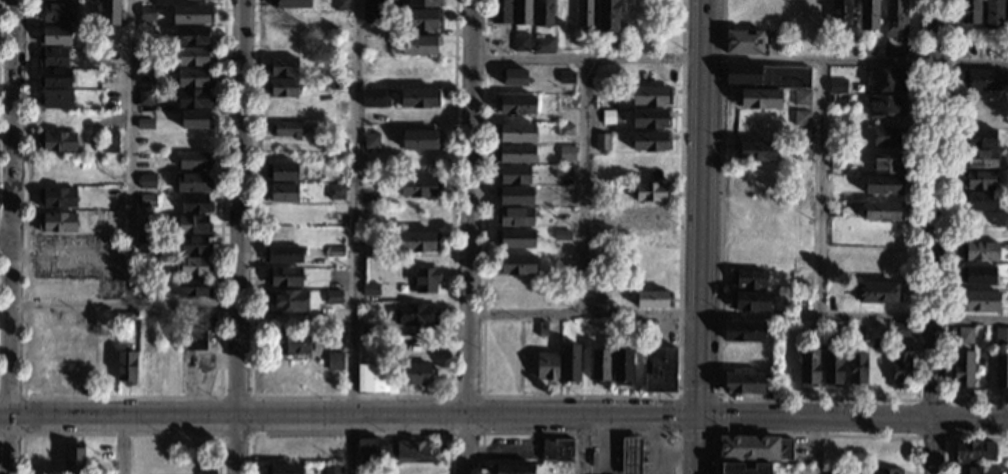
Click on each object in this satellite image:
building: (91, 1)
building: (424, 3)
building: (289, 4)
building: (340, 5)
building: (57, 12)
building: (110, 12)
building: (371, 12)
building: (501, 12)
building: (522, 12)
building: (841, 12)
building: (969, 12)
building: (147, 13)
building: (543, 13)
building: (585, 13)
building: (192, 15)
building: (868, 15)
building: (993, 15)
building: (1007, 15)
building: (608, 16)
road: (703, 16)
building: (894, 18)
building: (421, 19)
building: (284, 22)
building: (54, 36)
building: (195, 36)
building: (520, 42)
building: (743, 42)
building: (372, 44)
building: (419, 44)
building: (850, 44)
building: (543, 45)
building: (603, 45)
building: (893, 50)
building: (912, 52)
building: (145, 55)
building: (52, 57)
building: (114, 57)
building: (195, 57)
road: (739, 60)
building: (282, 67)
building: (371, 68)
building: (419, 71)
building: (744, 74)
building: (111, 76)
building: (54, 78)
building: (194, 78)
building: (515, 78)
building: (565, 78)
building: (886, 79)
building: (982, 80)
building: (336, 84)
building: (836, 85)
building: (282, 87)
building: (651, 96)
building: (145, 97)
building: (55, 98)
building: (419, 98)
building: (802, 98)
building: (194, 99)
building: (374, 99)
building: (758, 99)
building: (839, 100)
building: (515, 105)
building: (886, 106)
building: (282, 109)
building: (110, 116)
building: (840, 117)
building: (146, 118)
building: (650, 118)
building: (801, 118)
building: (602, 119)
building: (55, 120)
building: (193, 121)
building: (287, 129)
building: (566, 130)
building: (515, 133)
building: (890, 136)
building: (979, 138)
building: (419, 140)
building: (57, 141)
building: (371, 141)
building: (601, 141)
building: (651, 141)
building: (110, 142)
building: (754, 151)
building: (802, 151)
building: (567, 153)
building: (514, 154)
building: (979, 159)
building: (143, 160)
building: (194, 161)
building: (837, 162)
building: (889, 164)
building: (56, 169)
building: (282, 172)
building: (567, 173)
building: (512, 175)
building: (149, 180)
building: (978, 180)
building: (90, 182)
building: (193, 183)
road: (701, 183)
building: (883, 185)
road: (585, 186)
building: (420, 187)
road: (821, 188)
building: (335, 191)
building: (281, 192)
building: (652, 192)
building: (514, 196)
building: (57, 197)
building: (147, 200)
building: (979, 200)
building: (195, 203)
road: (11, 209)
building: (882, 211)
road: (130, 212)
building: (565, 215)
building: (649, 216)
building: (514, 217)
building: (57, 222)
building: (143, 222)
building: (193, 224)
road: (949, 229)
building: (561, 235)
road: (239, 237)
road: (353, 237)
road: (469, 237)
road: (935, 237)
building: (514, 239)
building: (419, 241)
building: (145, 242)
building: (194, 245)
building: (979, 251)
building: (335, 252)
building: (284, 255)
building: (515, 264)
building: (193, 267)
building: (144, 270)
building: (978, 276)
building: (284, 278)
building: (426, 279)
building: (749, 280)
building: (142, 287)
building: (193, 288)
building: (369, 289)
building: (878, 292)
building: (333, 297)
building: (654, 298)
building: (979, 301)
building: (288, 302)
building: (750, 302)
building: (416, 314)
road: (738, 314)
building: (125, 320)
building: (146, 325)
building: (543, 329)
building: (368, 330)
building: (632, 330)
building: (901, 330)
building: (743, 331)
building: (1002, 335)
building: (965, 336)
building: (195, 340)
building: (289, 344)
building: (335, 362)
building: (569, 363)
building: (600, 365)
building: (621, 366)
building: (126, 367)
building: (809, 367)
building: (832, 367)
building: (147, 369)
building: (547, 369)
building: (901, 369)
building: (962, 369)
building: (659, 370)
building: (856, 370)
building: (1001, 370)
road: (699, 373)
building: (417, 374)
building: (374, 379)
building: (771, 381)
building: (742, 383)
road: (677, 393)
road: (579, 395)
road: (120, 396)
road: (351, 396)
road: (819, 396)
road: (948, 398)
traffic signals: (698, 414)
road: (23, 416)
road: (504, 416)
road: (579, 432)
road: (814, 432)
road: (218, 433)
road: (351, 433)
road: (481, 433)
road: (121, 435)
road: (959, 436)
road: (698, 442)
road: (584, 444)
road: (7, 446)
road: (121, 446)
road: (817, 446)
building: (755, 447)
building: (368, 450)
building: (557, 451)
building: (413, 452)
building: (972, 453)
building: (631, 456)
building: (74, 460)
building: (284, 468)
building: (512, 468)
building: (743, 469)
building: (332, 470)
road: (672, 470)
building: (832, 470)
building: (882, 471)
building: (984, 471)
road: (697, 472)

